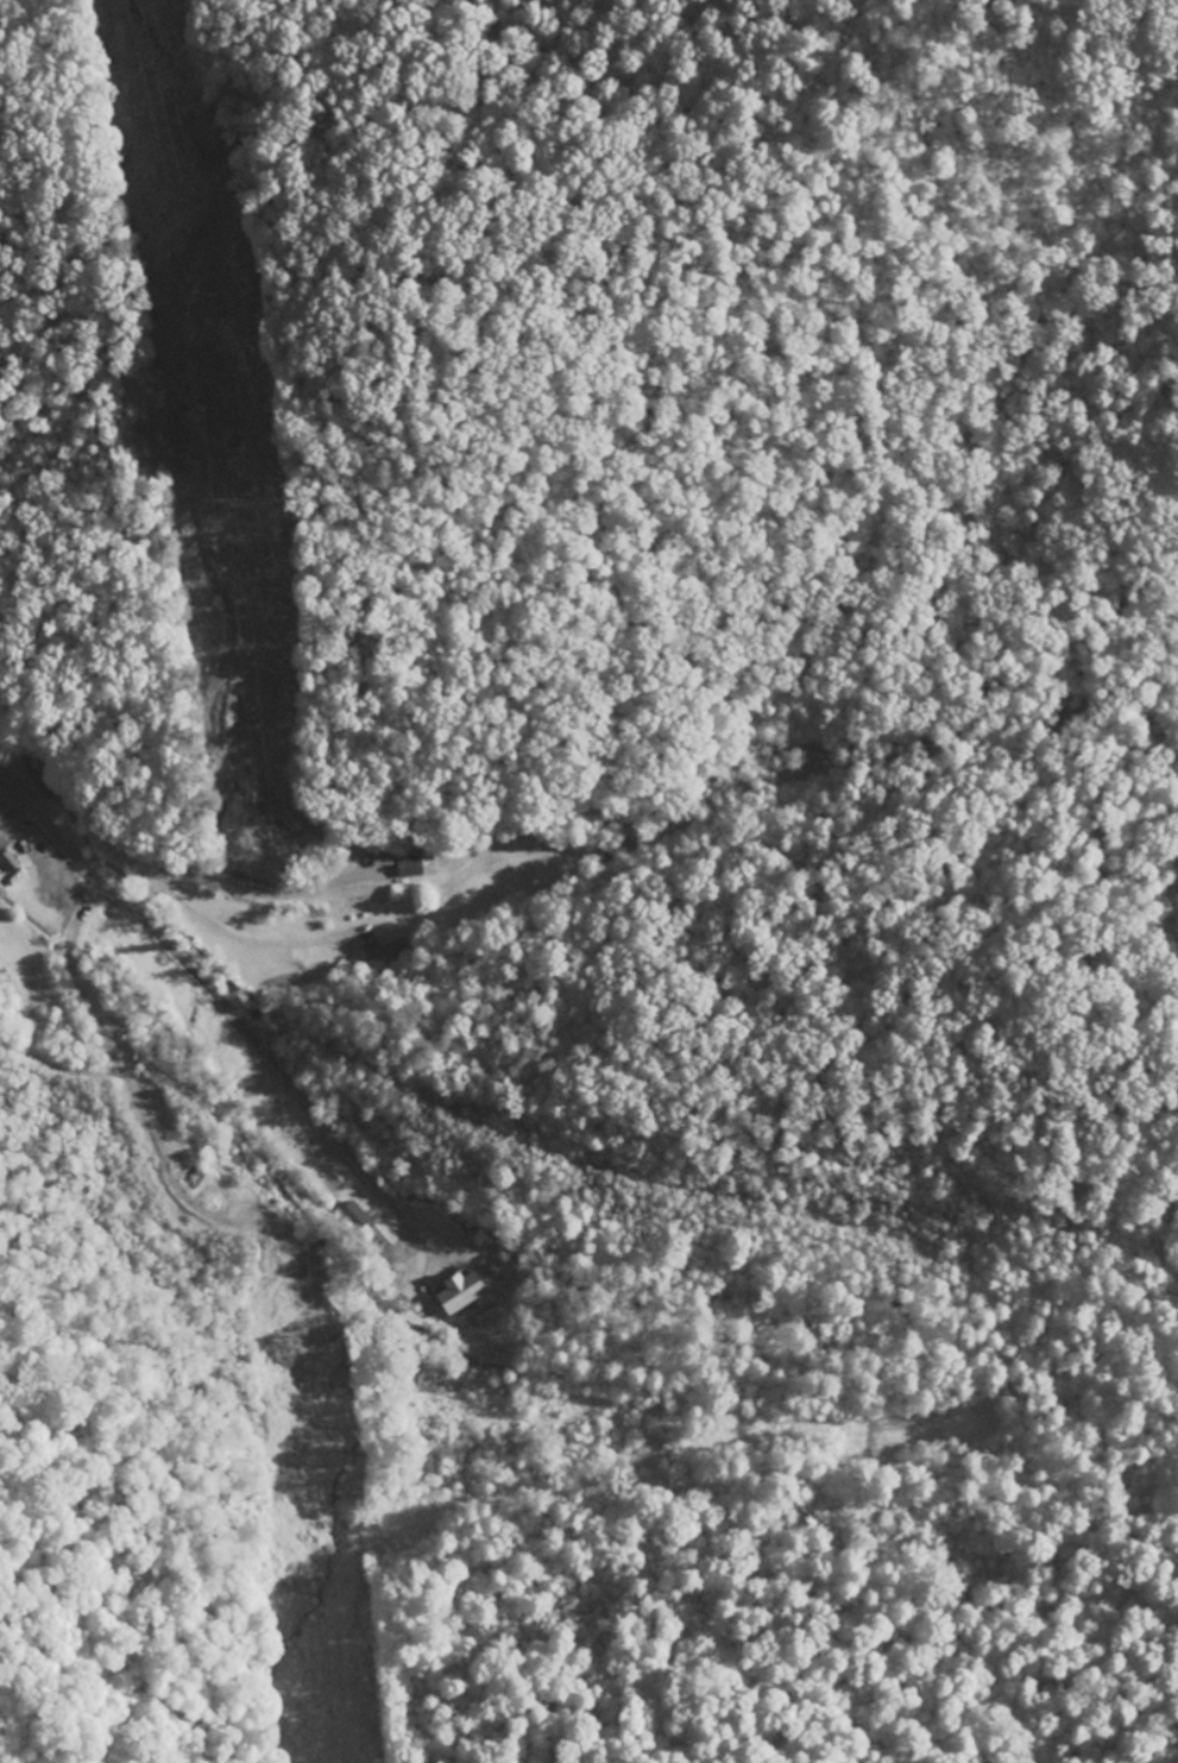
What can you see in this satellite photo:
power tower: (214, 296)
power tower: (231, 495)
building: (407, 868)
road: (204, 986)
building: (455, 1293)
power tower: (305, 1331)

